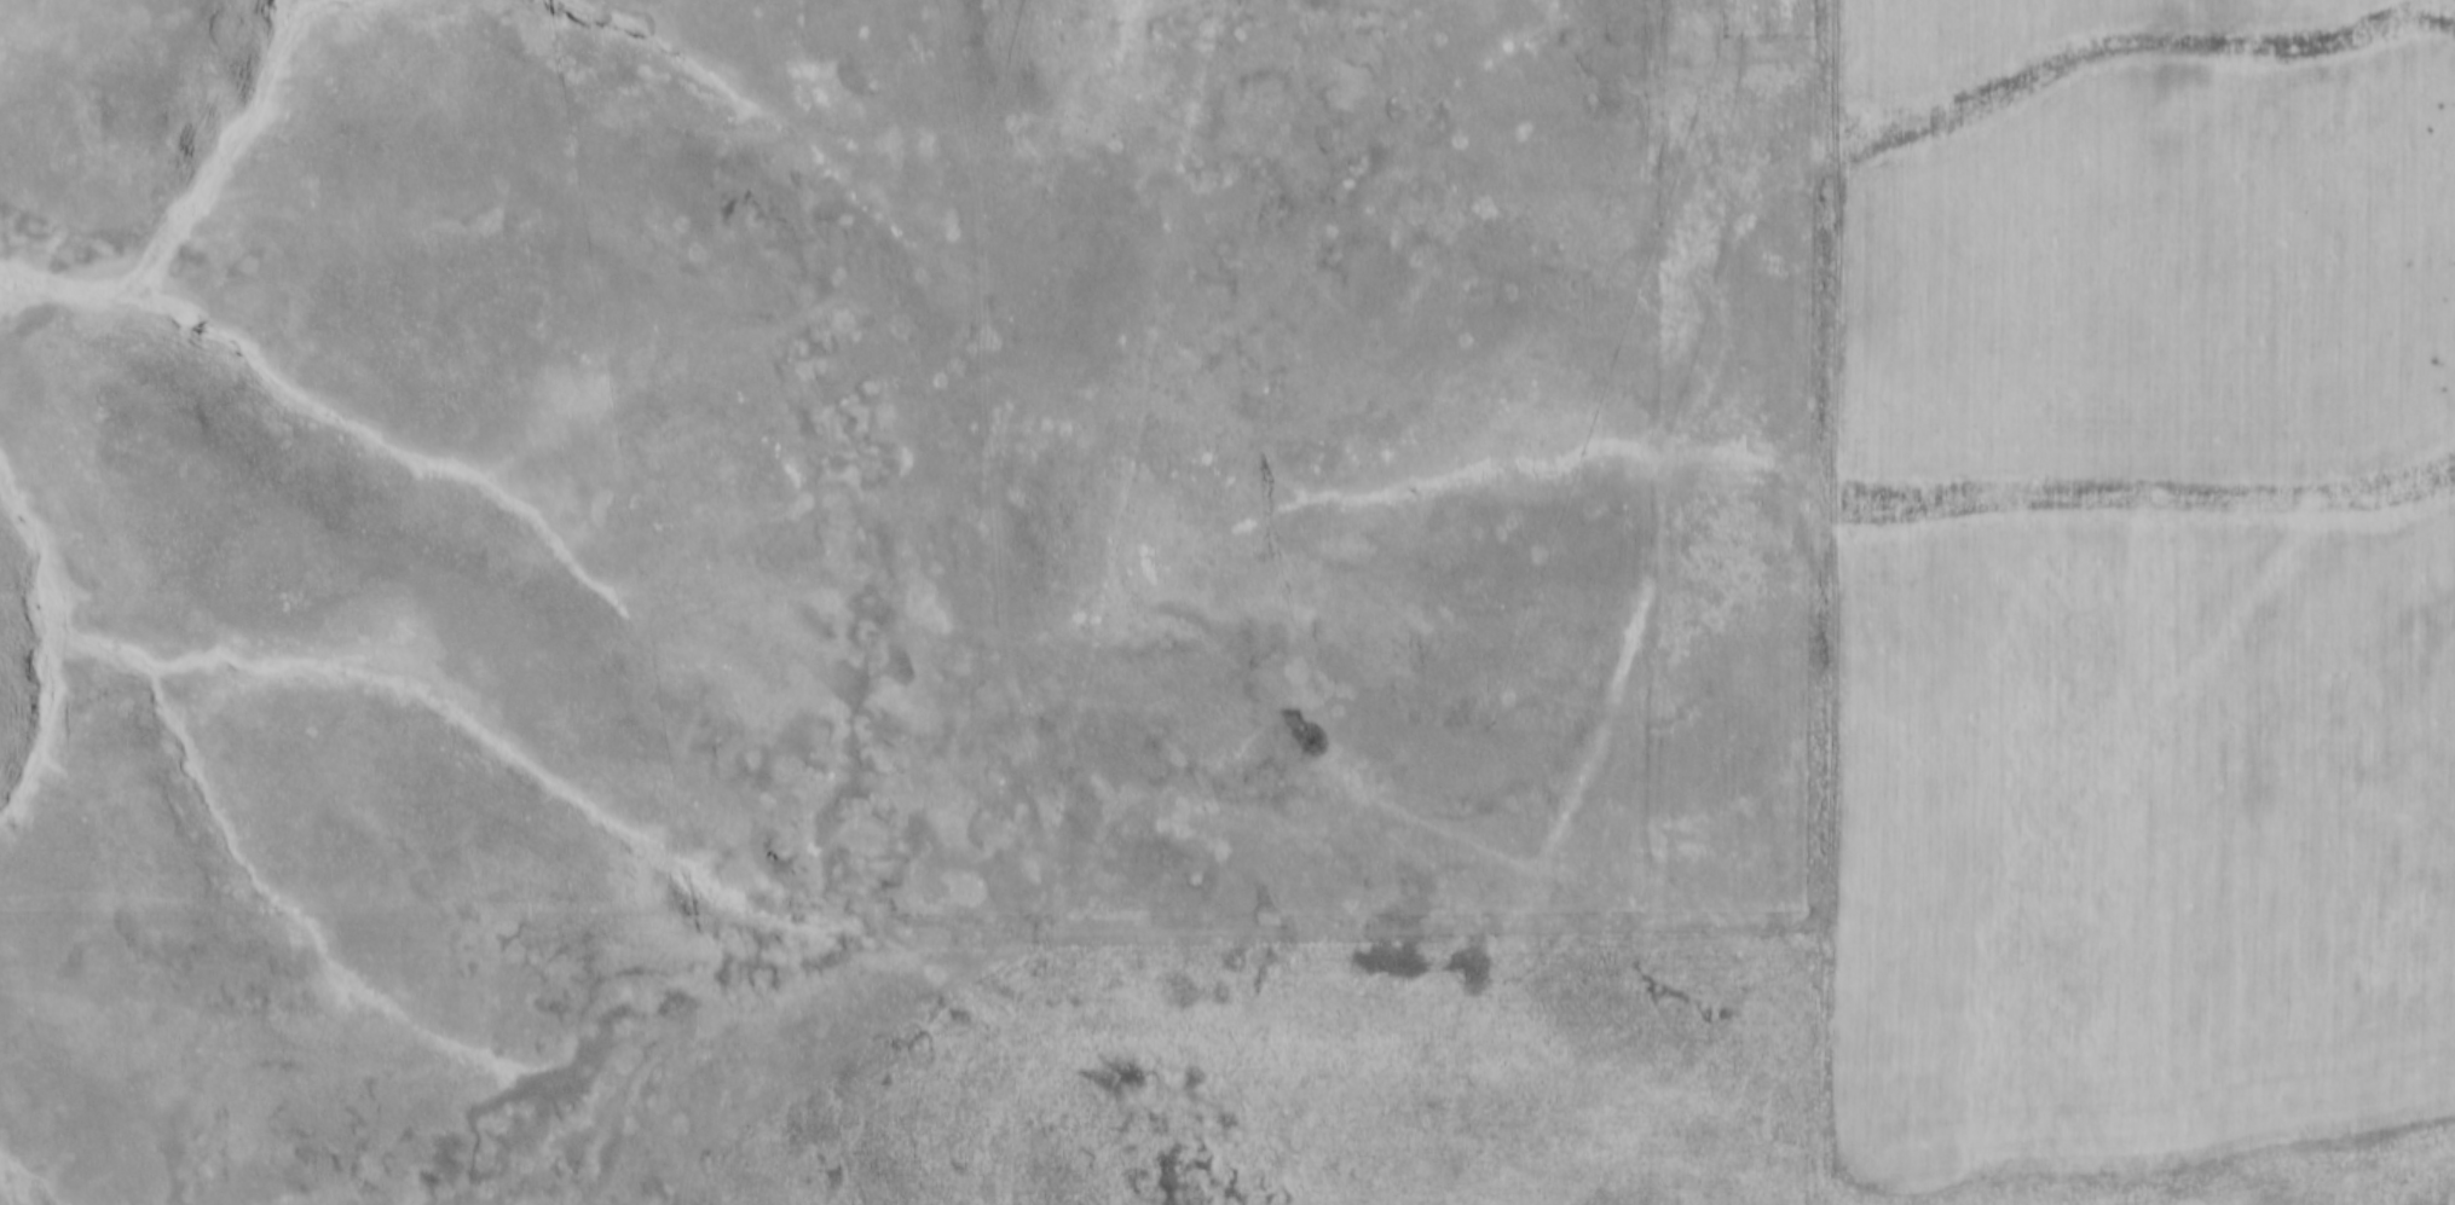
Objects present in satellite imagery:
road: (1110, 603)

